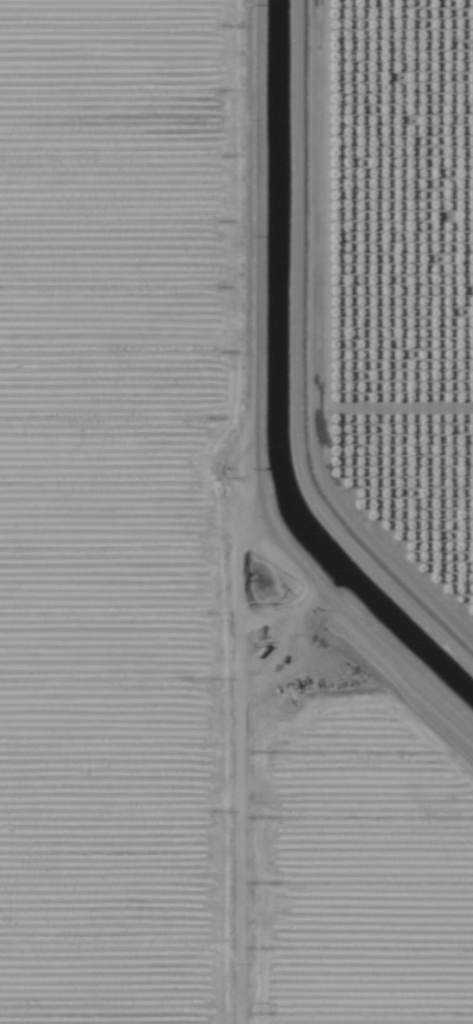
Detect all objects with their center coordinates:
road: (295, 364)
crop: (236, 512)
road: (229, 517)
building: (467, 536)
road: (266, 886)

